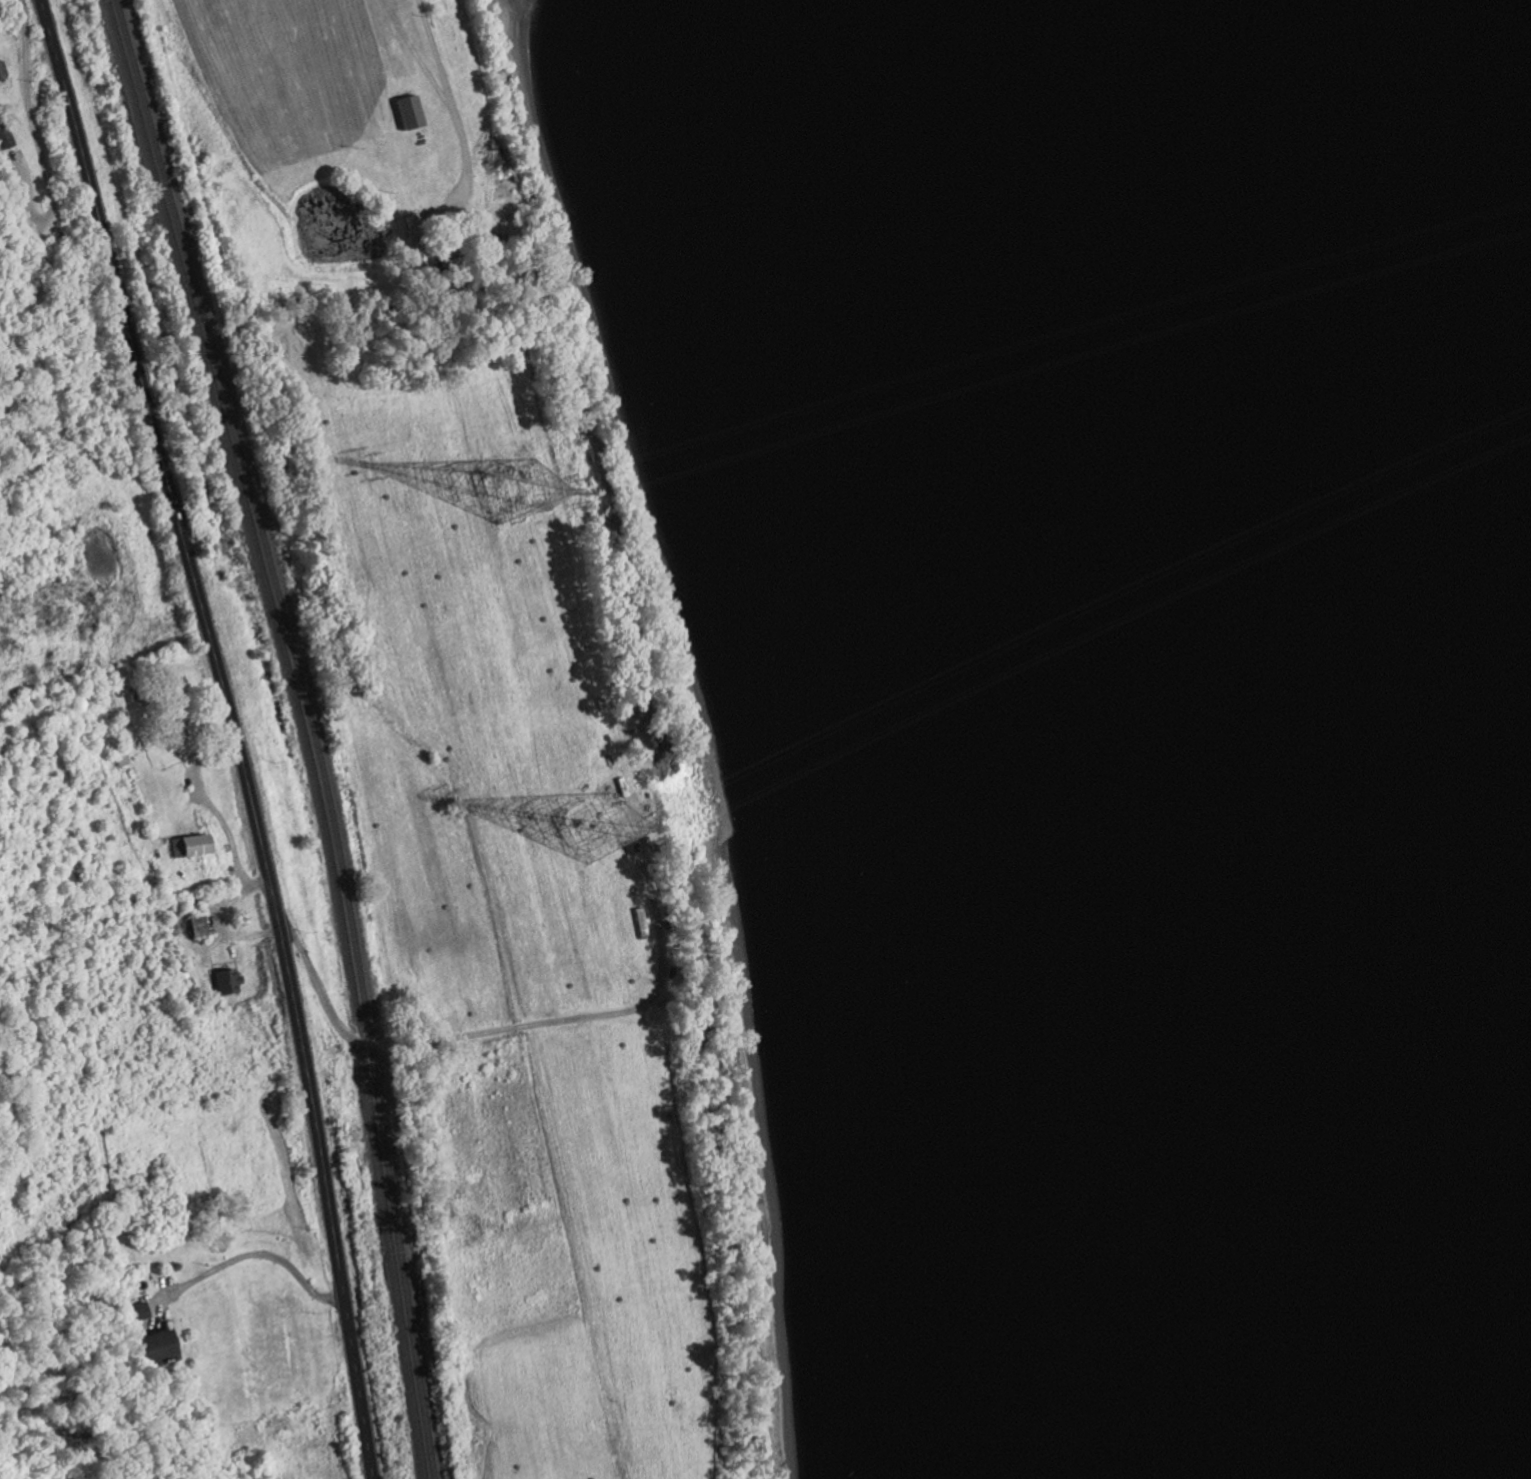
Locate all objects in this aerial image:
road: (441, 74)
road: (34, 142)
power tower: (513, 497)
crop: (485, 705)
railway: (302, 731)
railway: (311, 731)
road: (232, 733)
river: (1295, 736)
power tower: (598, 831)
road: (662, 980)
road: (250, 1254)

